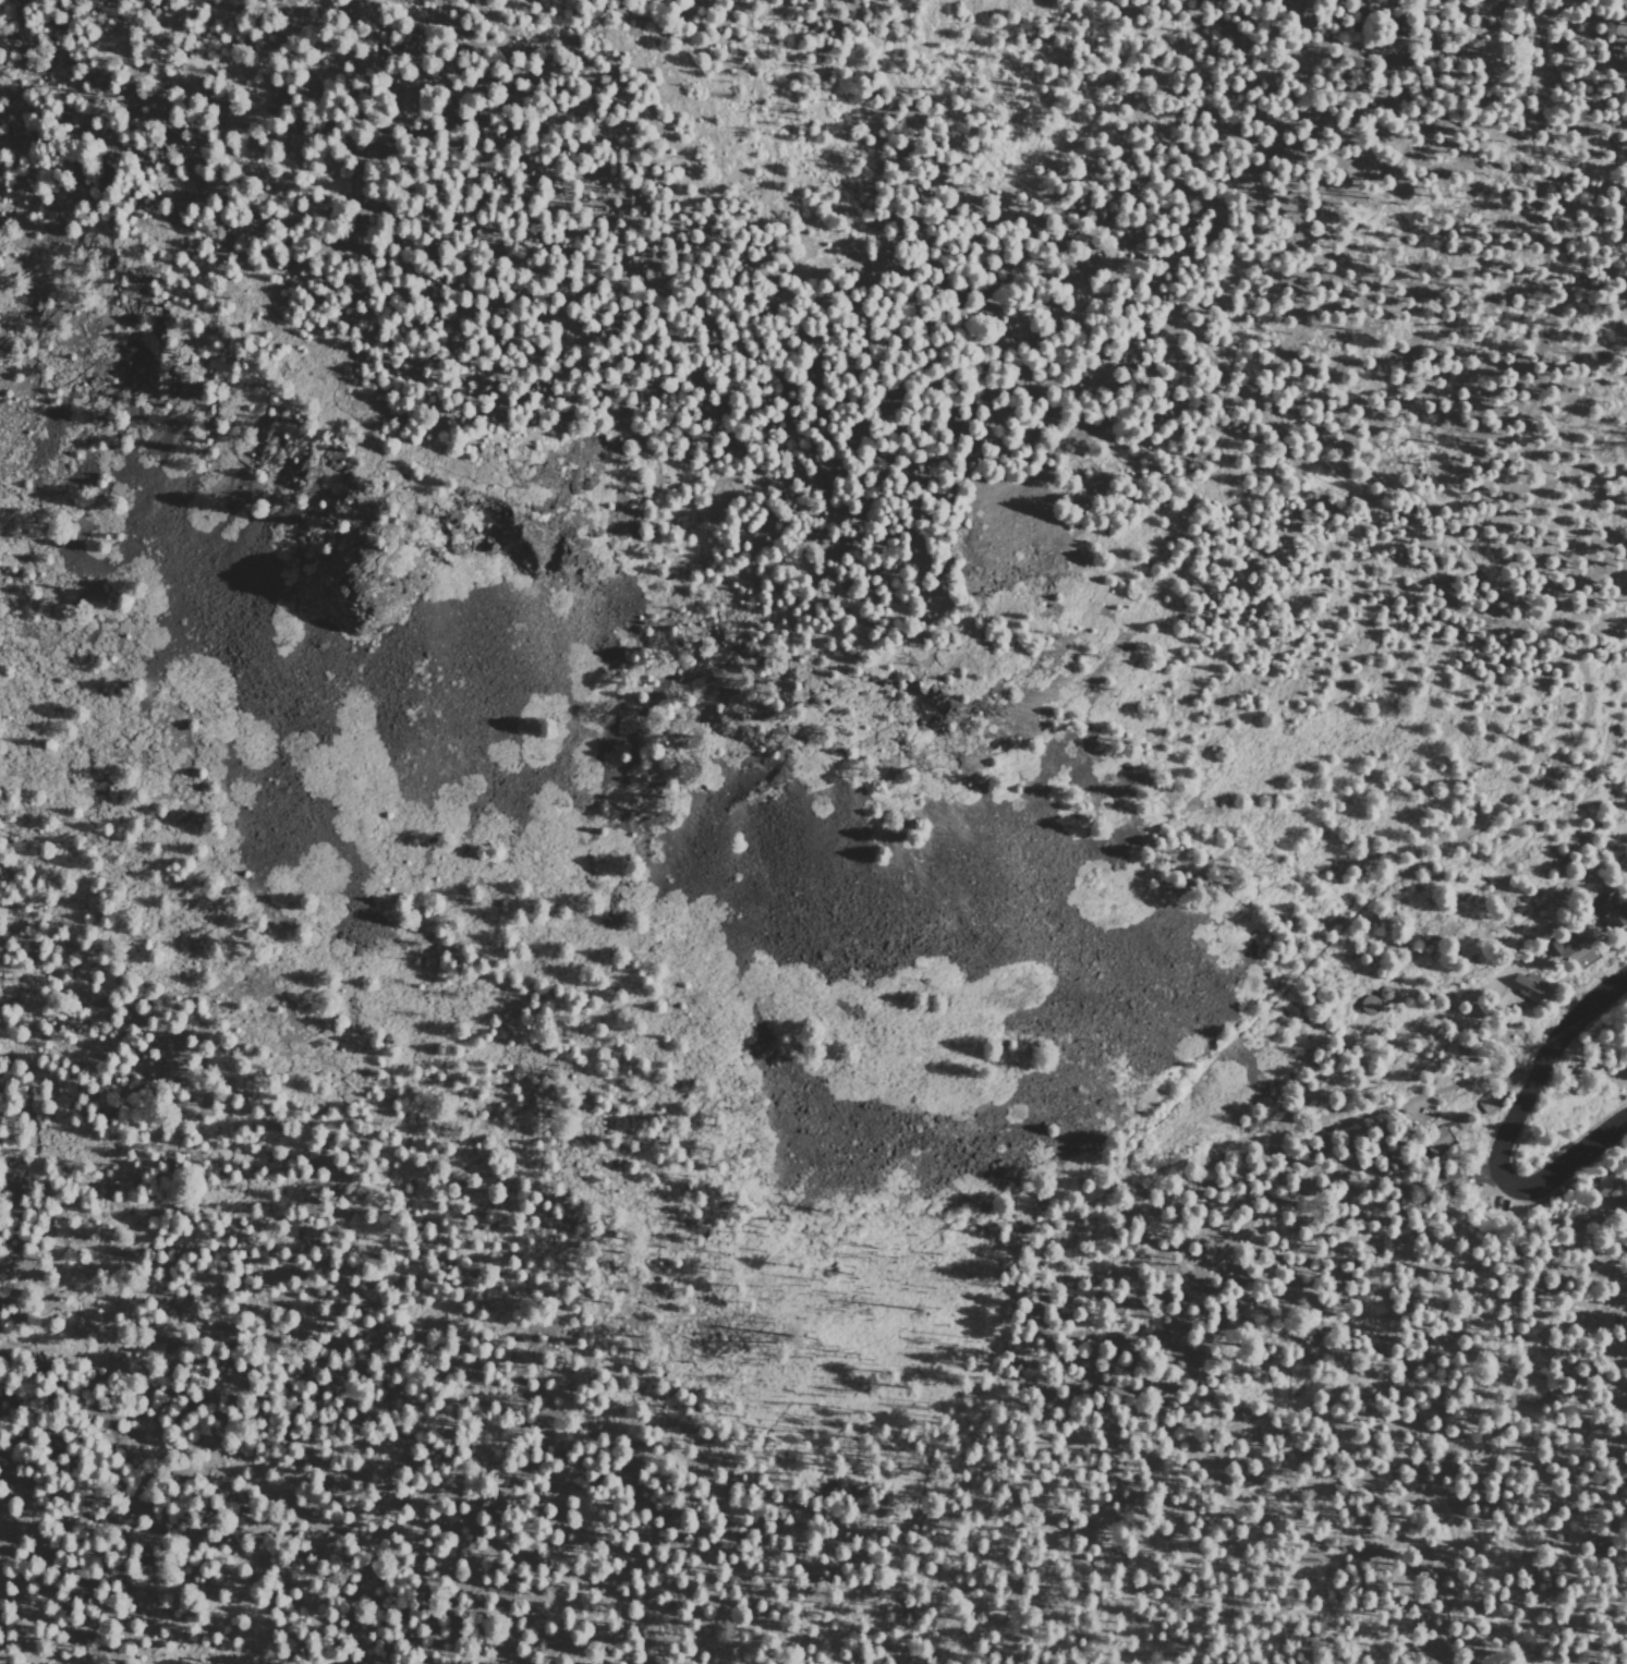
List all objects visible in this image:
road: (463, 41)
road: (338, 139)
road: (371, 445)
building: (721, 495)
road: (1498, 603)
building: (1611, 912)
building: (1571, 951)
building: (1527, 986)
building: (1369, 1005)
road: (1397, 1023)
road: (1538, 1069)
road: (1421, 1094)
building: (1489, 1103)
road: (1286, 1107)
building: (1435, 1141)
road: (1571, 1158)
building: (1450, 1179)
building: (1611, 1193)

